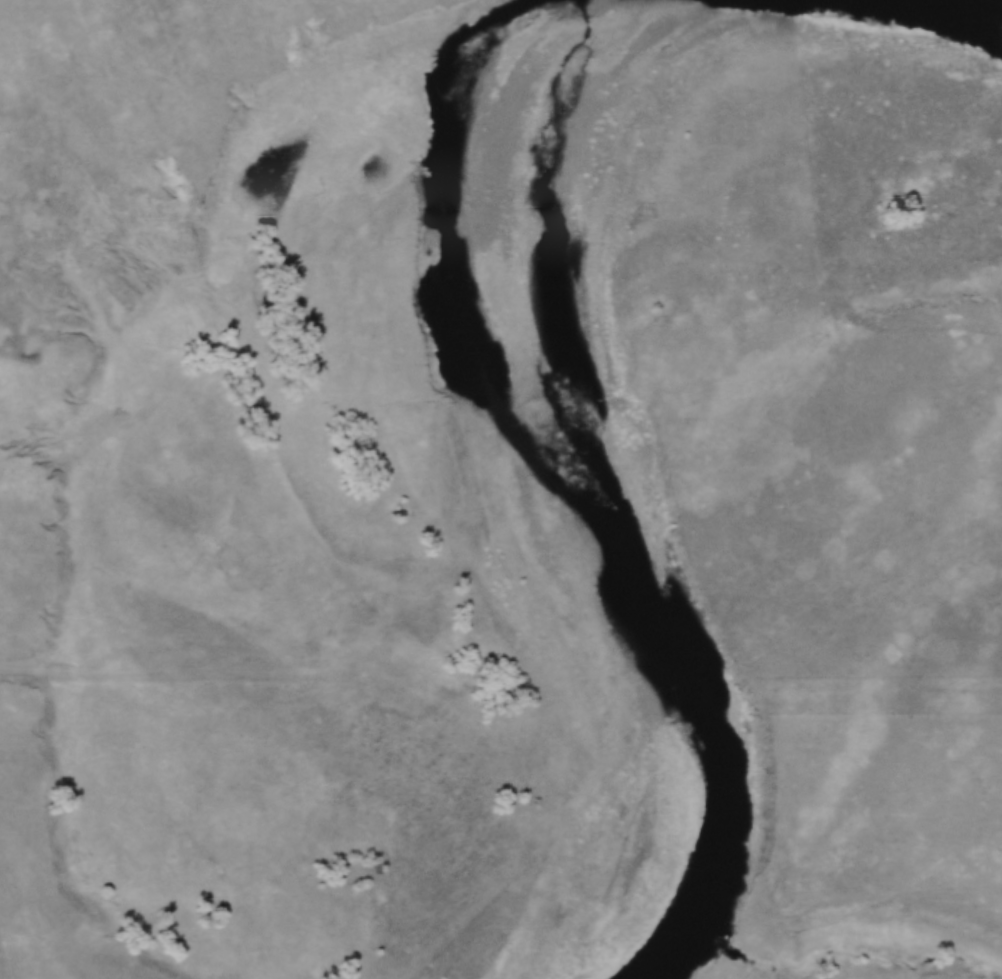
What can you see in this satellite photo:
river: (964, 14)
road: (893, 311)
river: (564, 489)
road: (33, 915)

